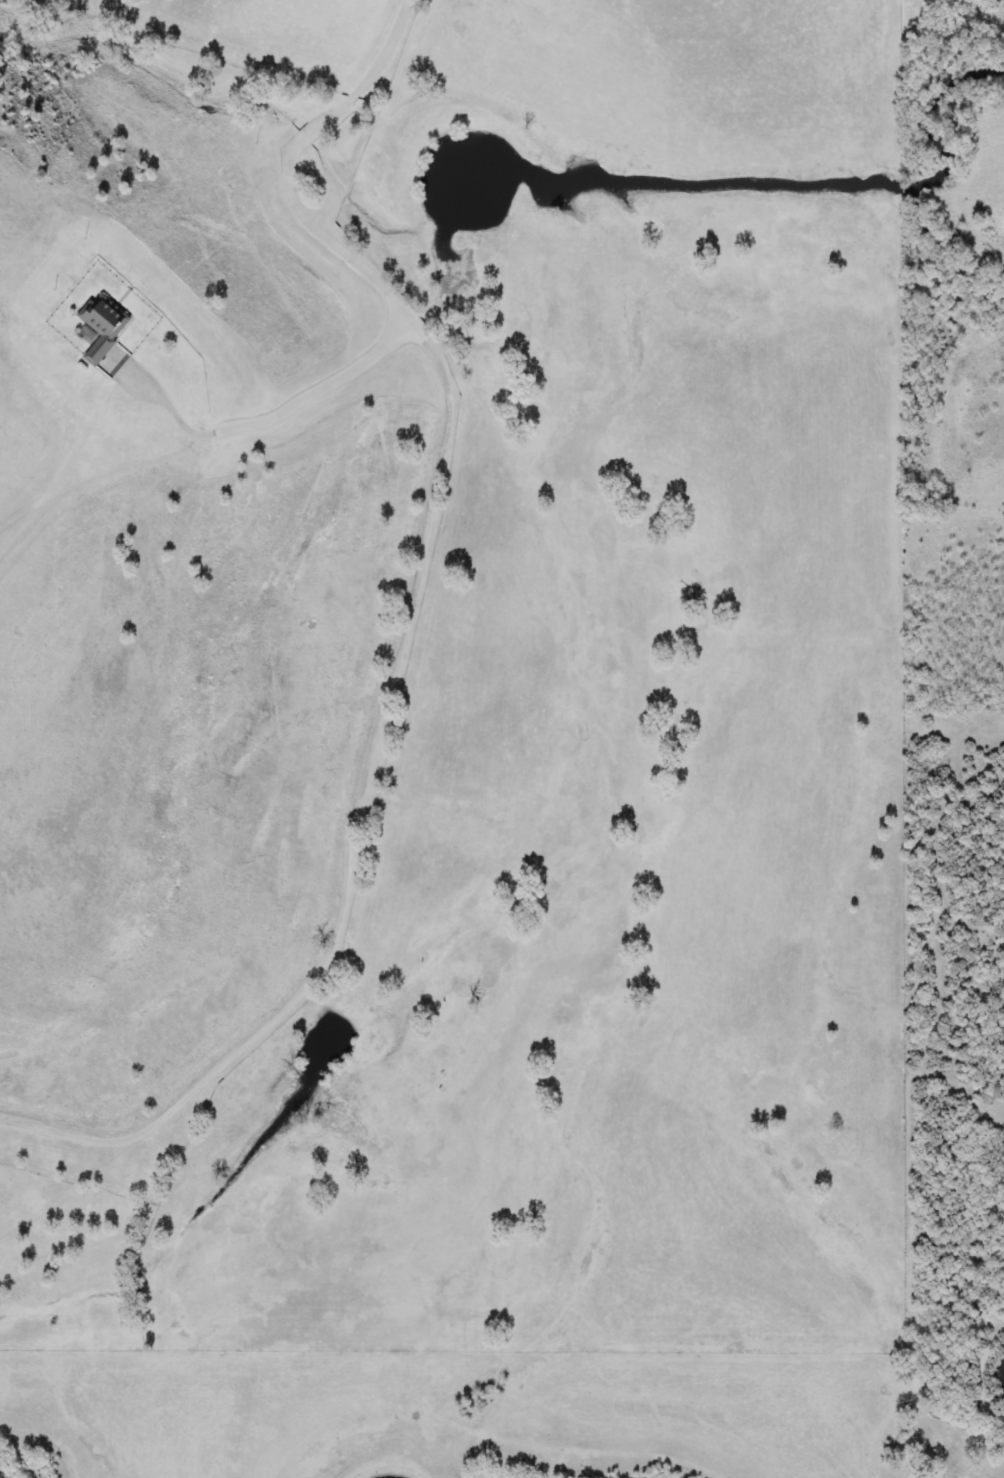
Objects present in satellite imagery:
building: (98, 326)
road: (405, 627)

